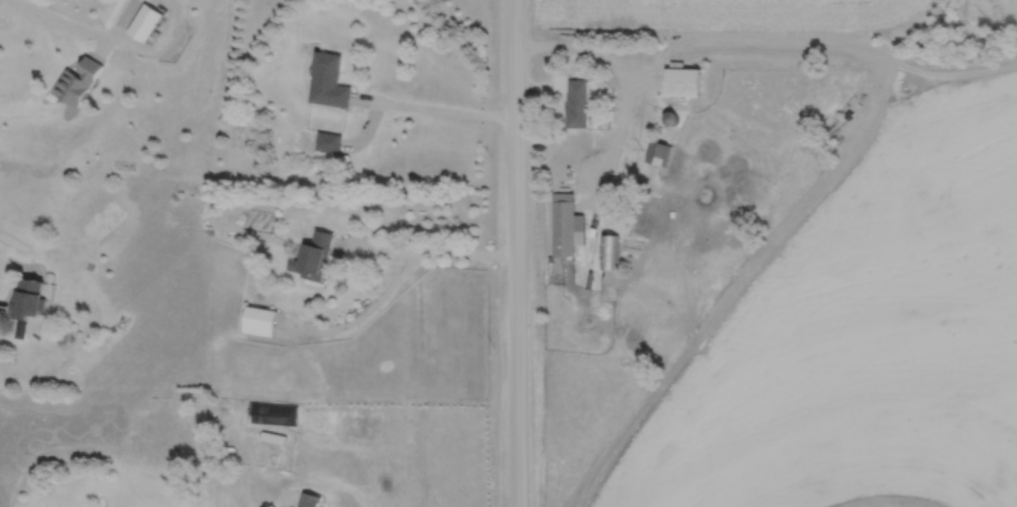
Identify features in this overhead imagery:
road: (61, 19)
road: (123, 19)
building: (144, 21)
building: (154, 33)
road: (158, 48)
building: (327, 80)
building: (77, 81)
building: (683, 81)
road: (539, 88)
building: (576, 103)
road: (434, 108)
building: (670, 117)
road: (620, 122)
road: (367, 127)
building: (327, 141)
building: (658, 152)
building: (568, 175)
road: (631, 179)
building: (617, 206)
building: (631, 206)
building: (167, 208)
building: (564, 224)
road: (425, 250)
building: (609, 251)
road: (515, 253)
building: (312, 256)
building: (27, 297)
road: (3, 305)
road: (360, 315)
building: (259, 320)
building: (113, 327)
building: (624, 360)
building: (273, 435)
building: (309, 499)

